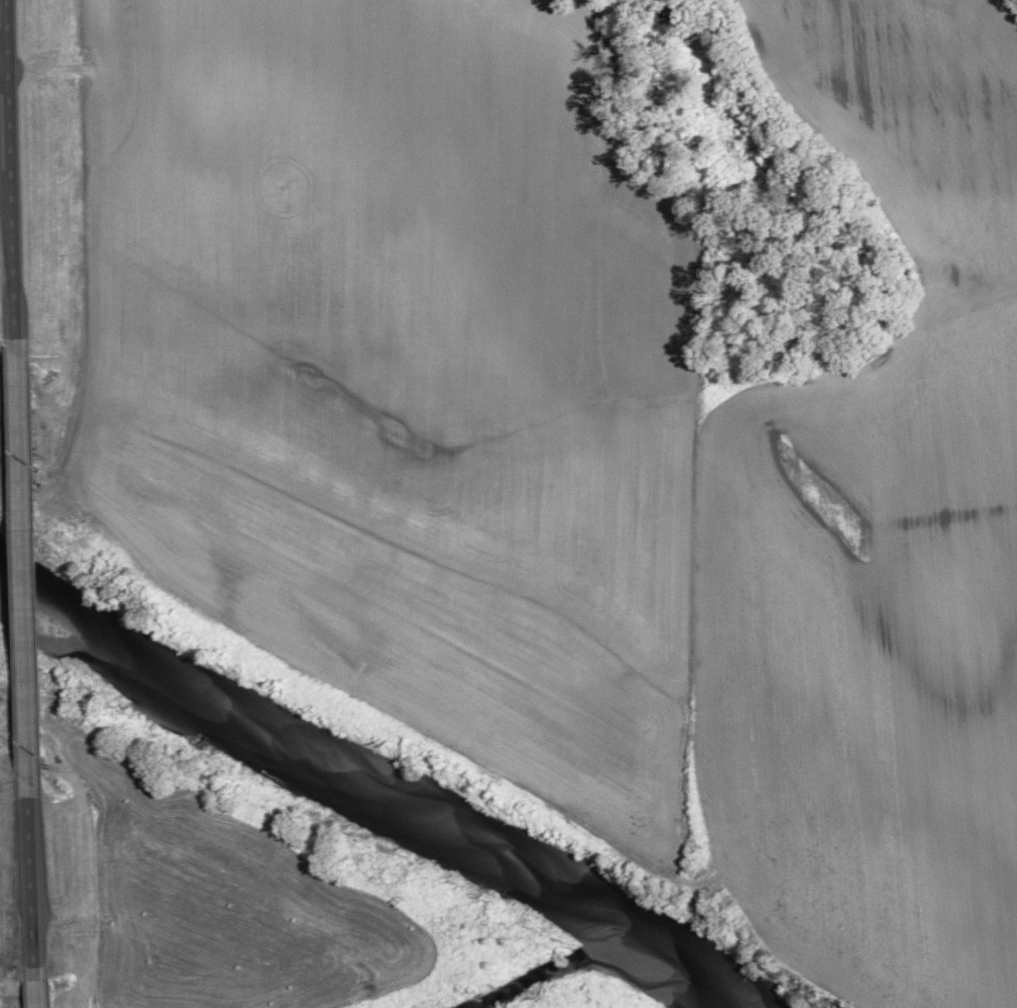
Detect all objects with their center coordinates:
road: (11, 39)
road: (6, 79)
road: (14, 124)
road: (18, 254)
road: (26, 569)
river: (367, 784)
road: (34, 883)
road: (38, 988)

